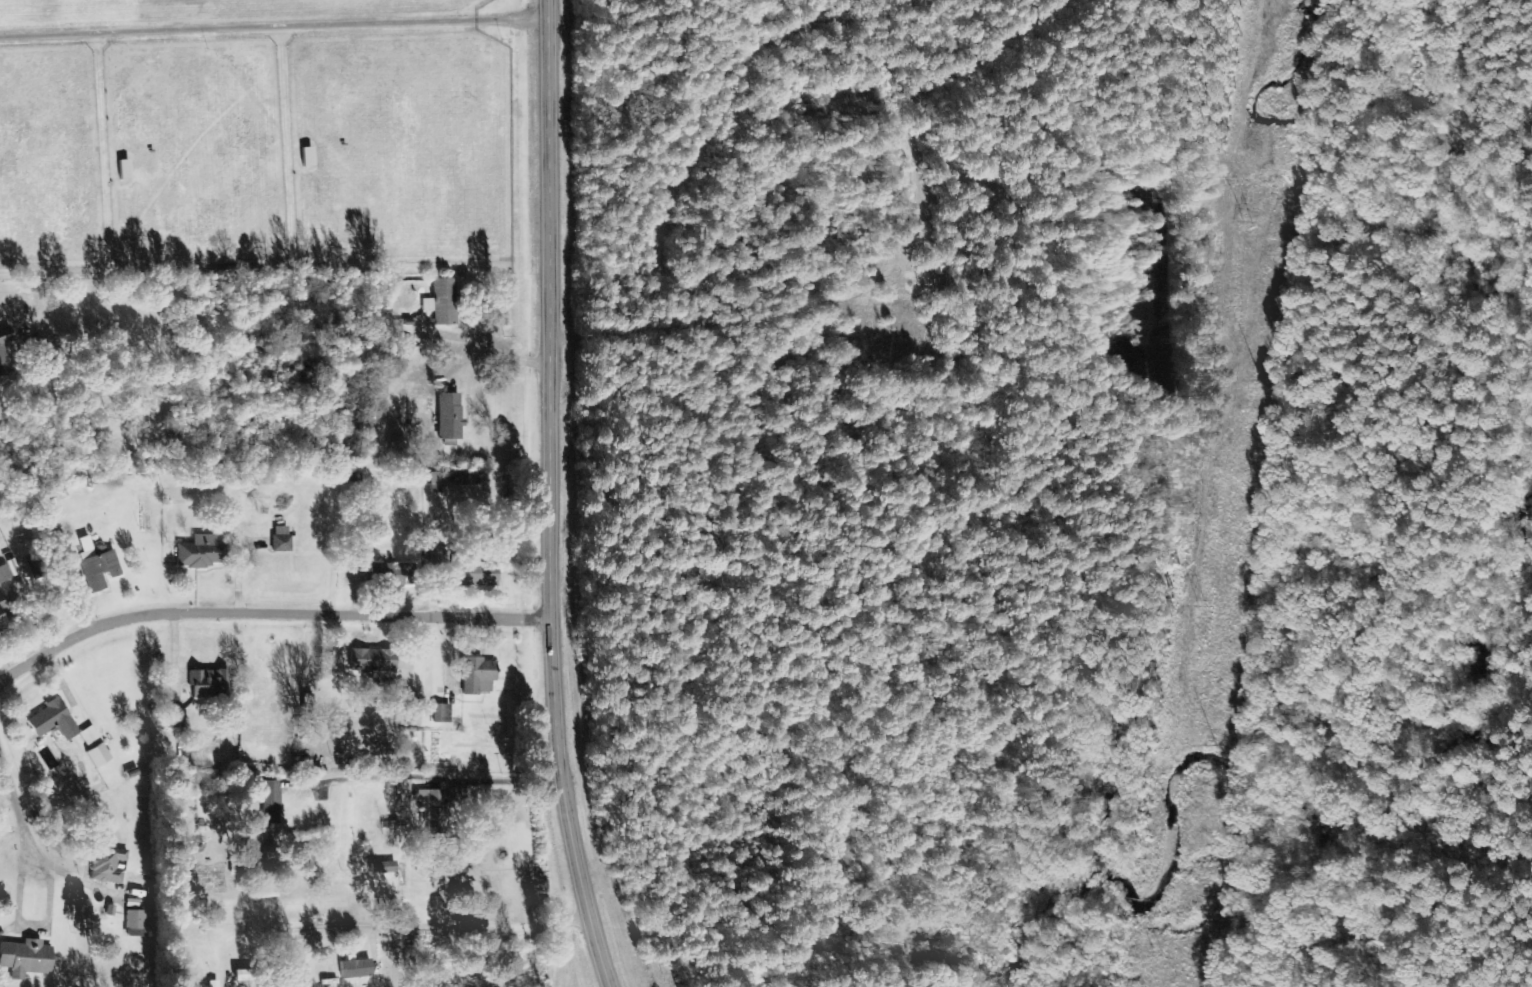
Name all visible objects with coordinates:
building: (442, 301)
building: (425, 304)
building: (3, 336)
building: (1, 367)
building: (446, 416)
road: (551, 496)
building: (279, 539)
building: (194, 552)
building: (94, 566)
building: (6, 570)
building: (470, 573)
building: (0, 606)
road: (268, 613)
building: (1, 630)
building: (373, 662)
building: (474, 675)
building: (206, 684)
building: (439, 713)
building: (173, 719)
building: (49, 720)
building: (95, 755)
building: (425, 797)
building: (268, 801)
road: (22, 804)
building: (104, 864)
building: (236, 864)
building: (132, 923)
building: (23, 958)
building: (352, 968)

